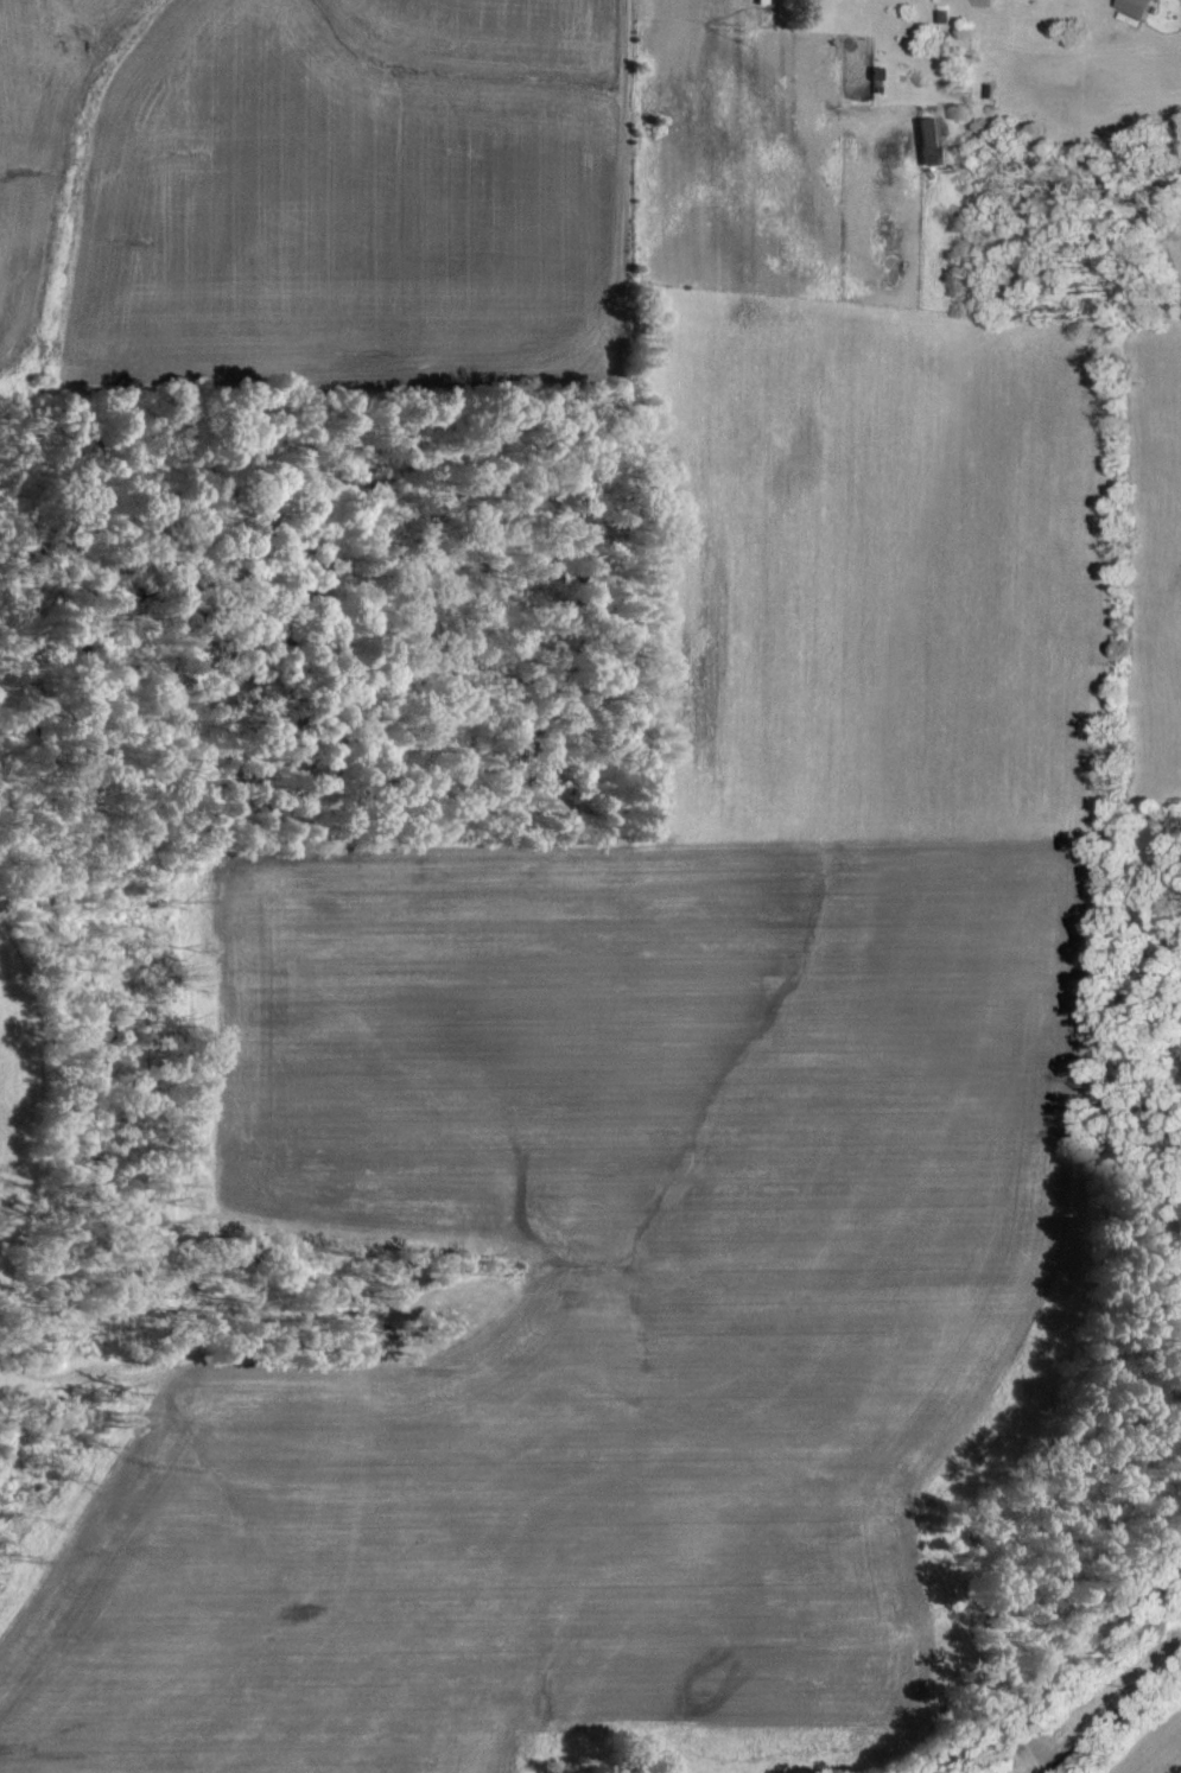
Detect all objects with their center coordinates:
building: (1143, 7)
building: (927, 133)
road: (1119, 1720)

